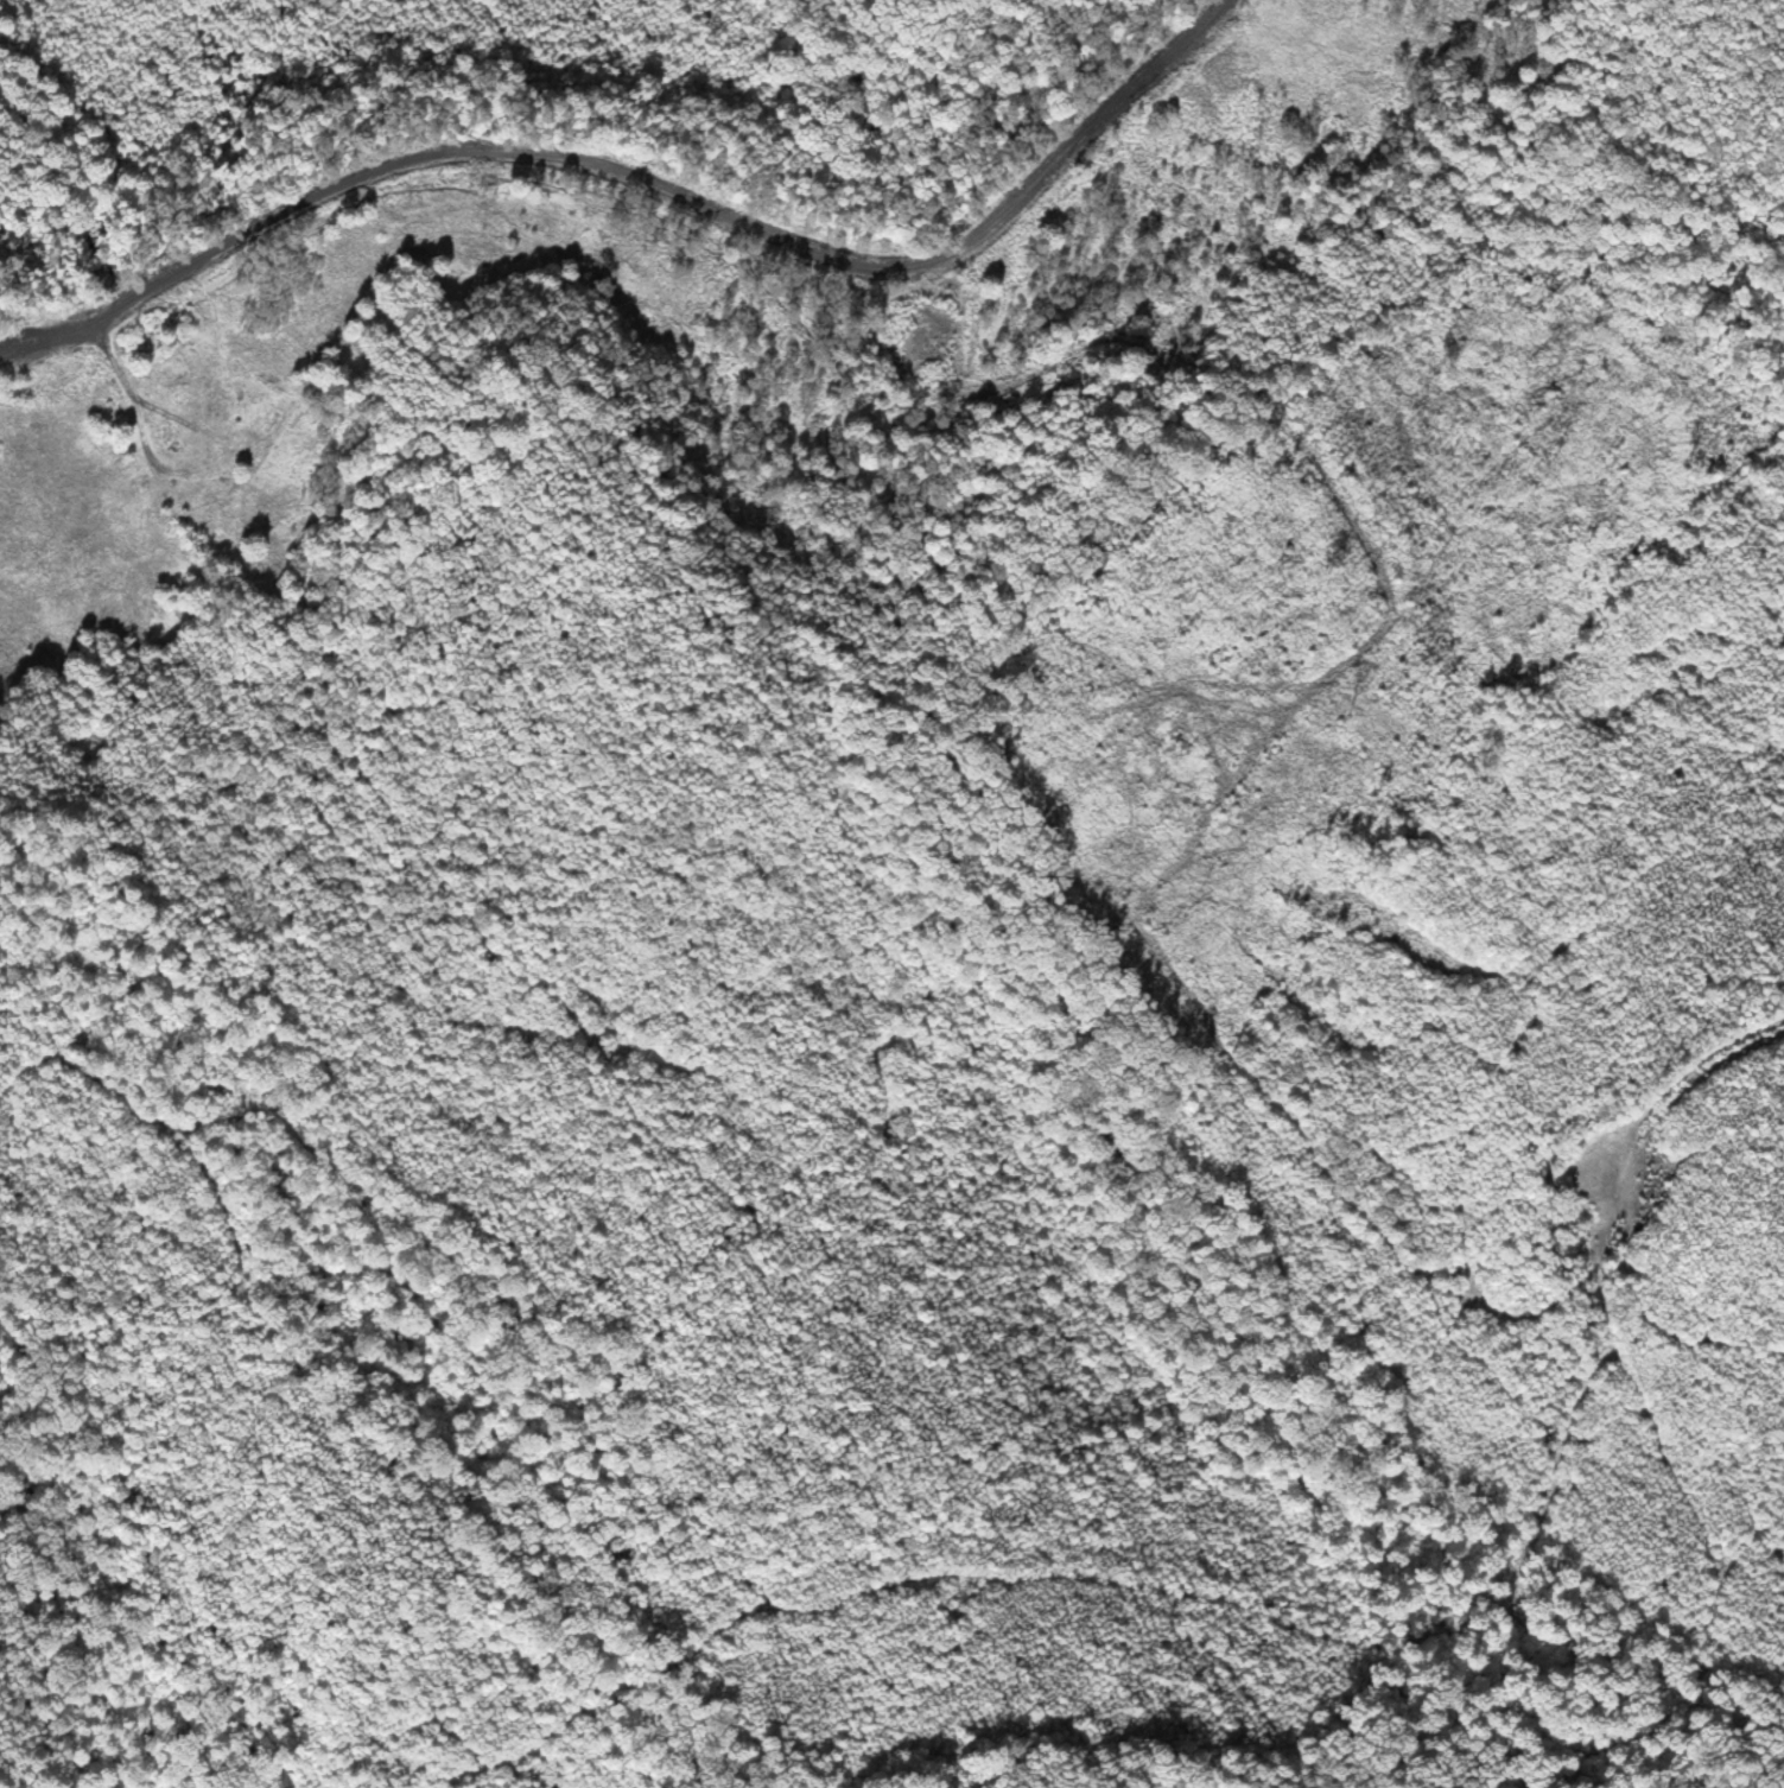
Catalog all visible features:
road: (942, 34)
road: (201, 90)

